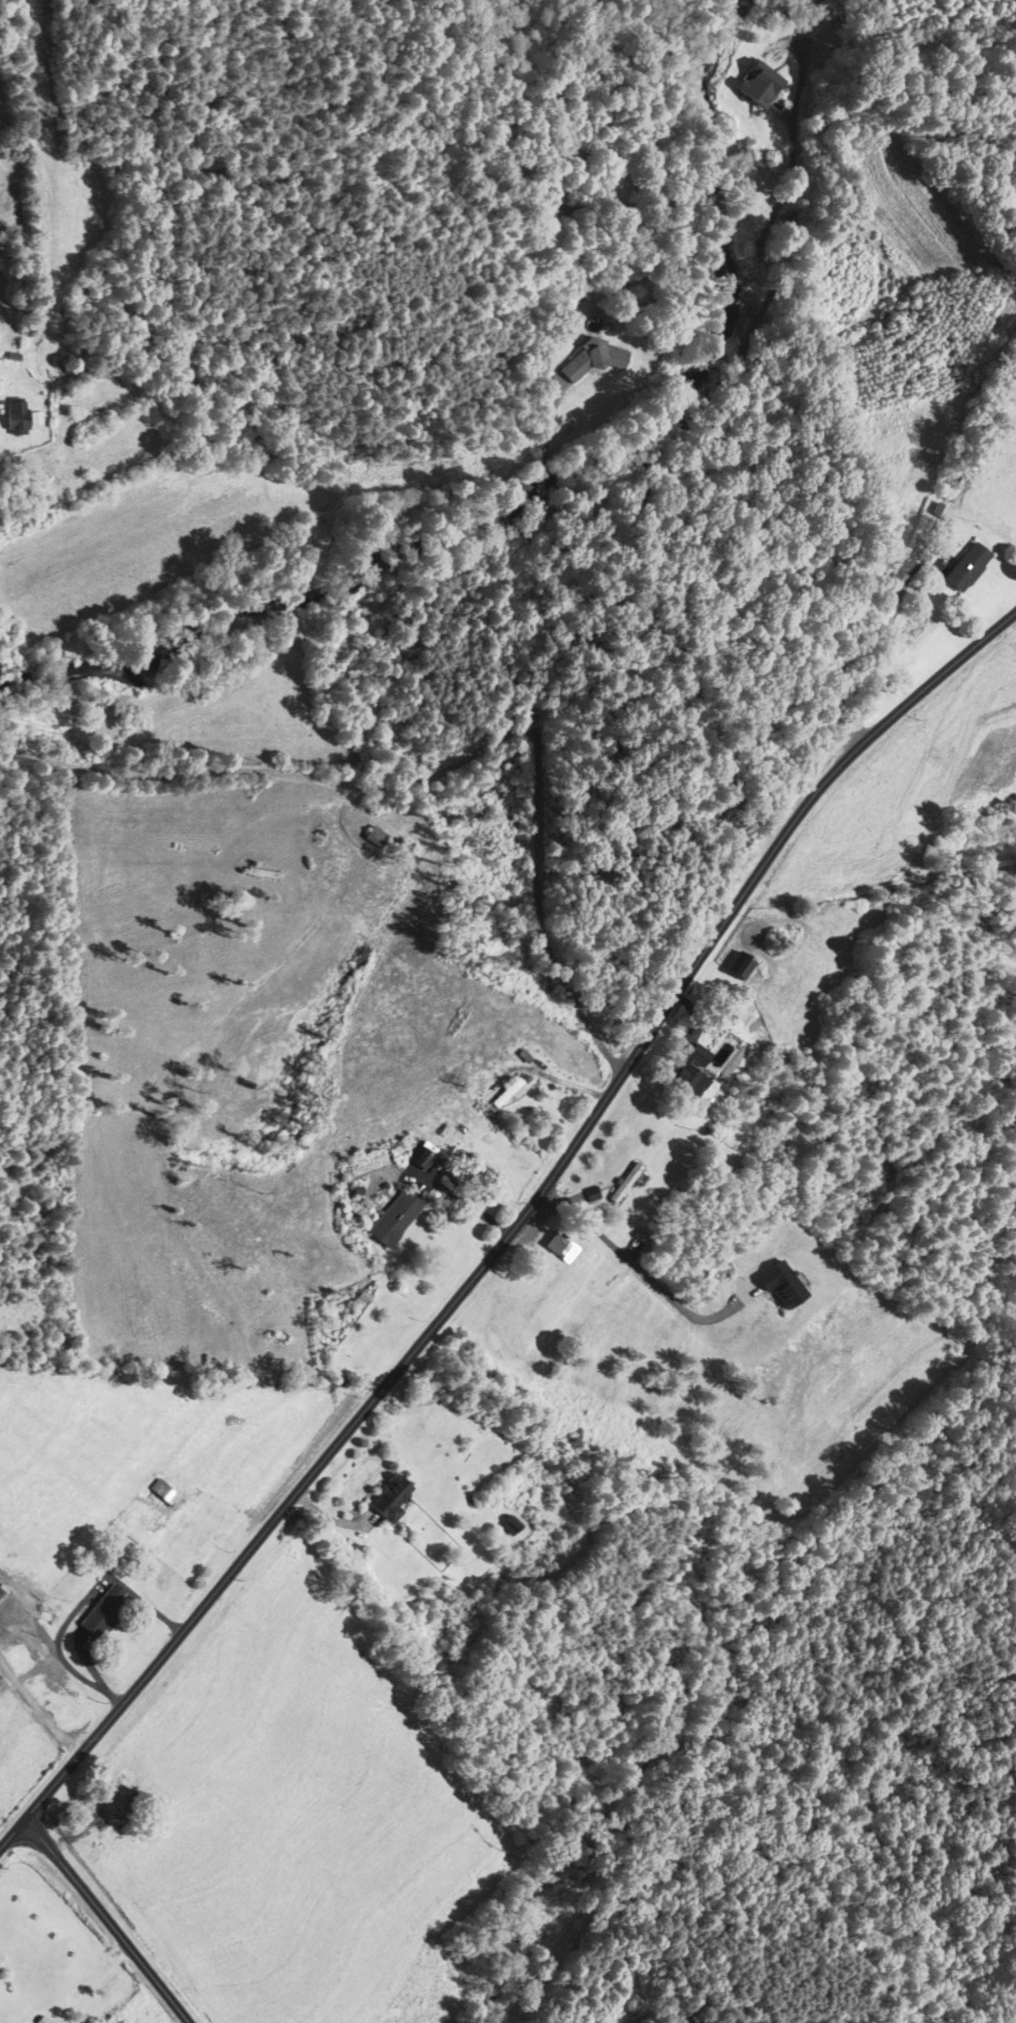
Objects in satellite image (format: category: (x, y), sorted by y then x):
building: (826, 10)
building: (758, 85)
building: (608, 207)
road: (736, 349)
building: (594, 358)
building: (15, 420)
building: (34, 420)
road: (542, 448)
river: (521, 487)
building: (940, 512)
building: (966, 568)
road: (529, 616)
road: (757, 637)
road: (254, 749)
building: (377, 838)
building: (264, 875)
building: (743, 968)
building: (687, 1080)
building: (508, 1095)
building: (624, 1183)
road: (463, 1203)
building: (394, 1220)
road: (512, 1228)
building: (557, 1245)
road: (634, 1265)
building: (163, 1493)
building: (388, 1499)
building: (509, 1526)
road: (78, 1606)
building: (102, 1611)
building: (137, 1804)
road: (105, 1920)
building: (41, 2020)

